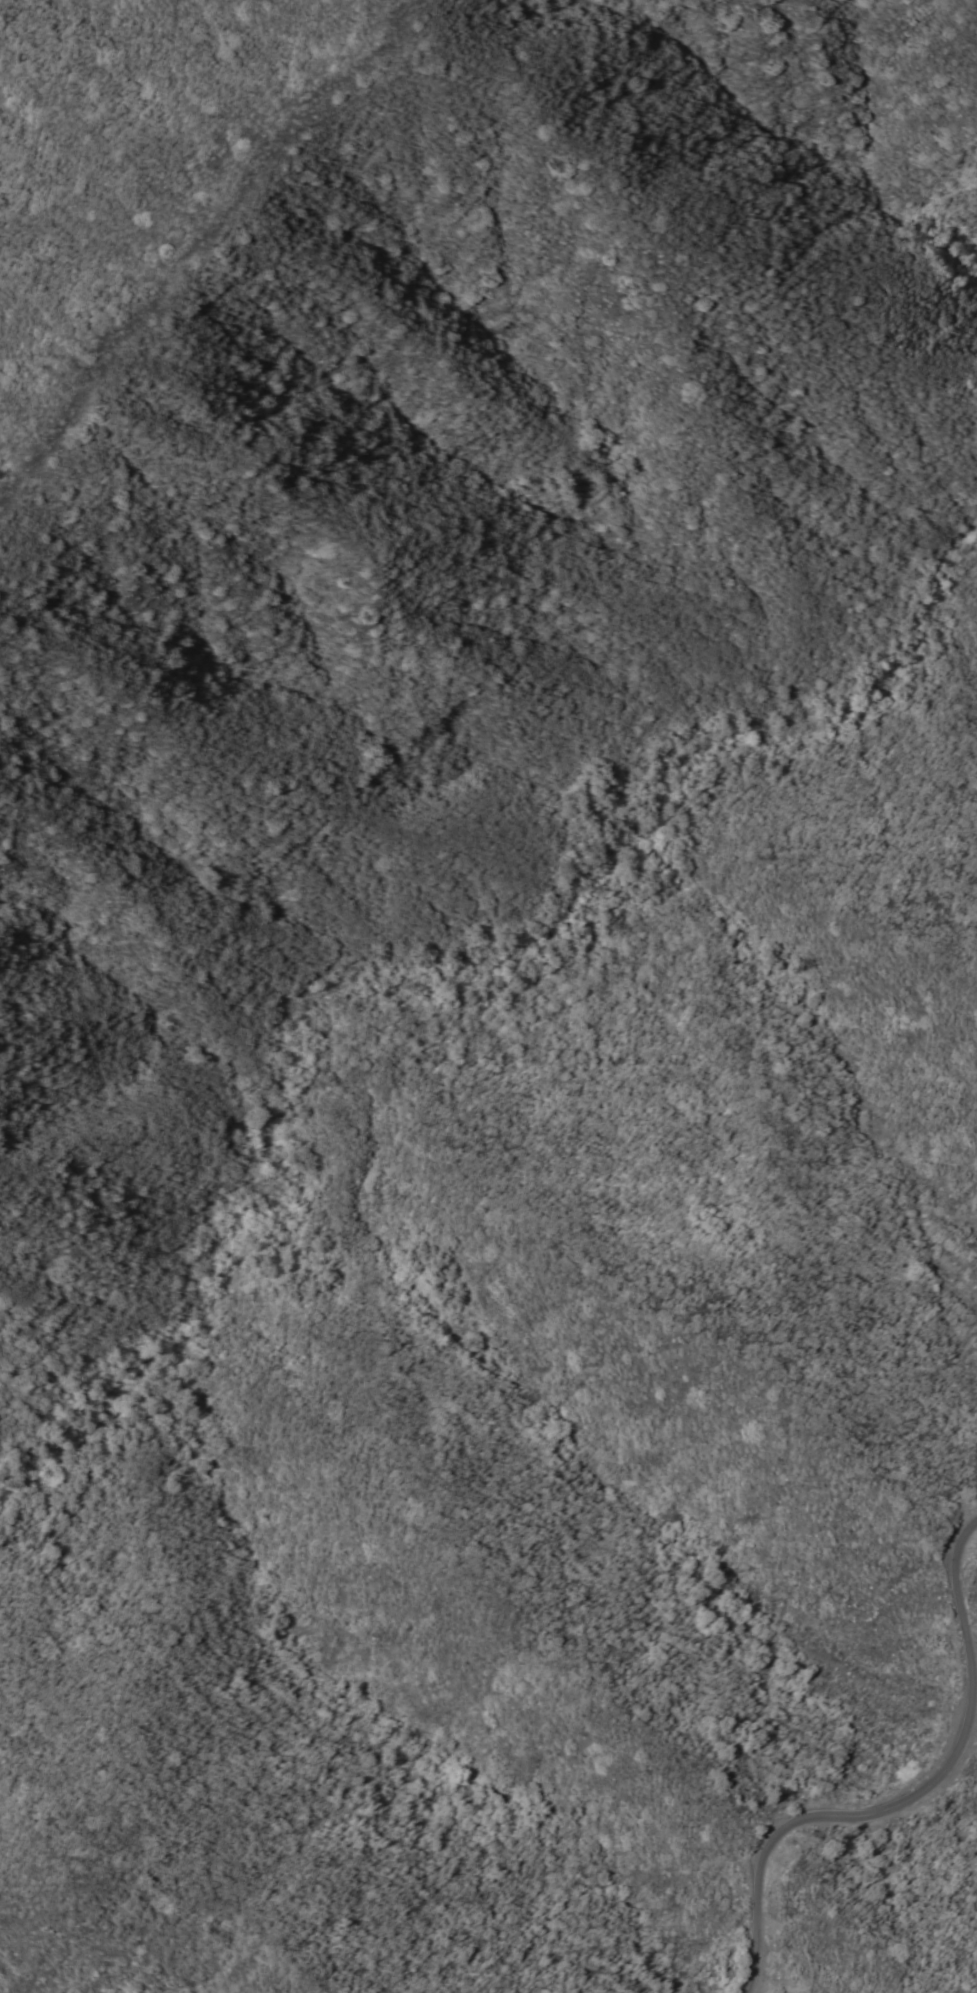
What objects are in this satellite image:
road: (912, 1799)

